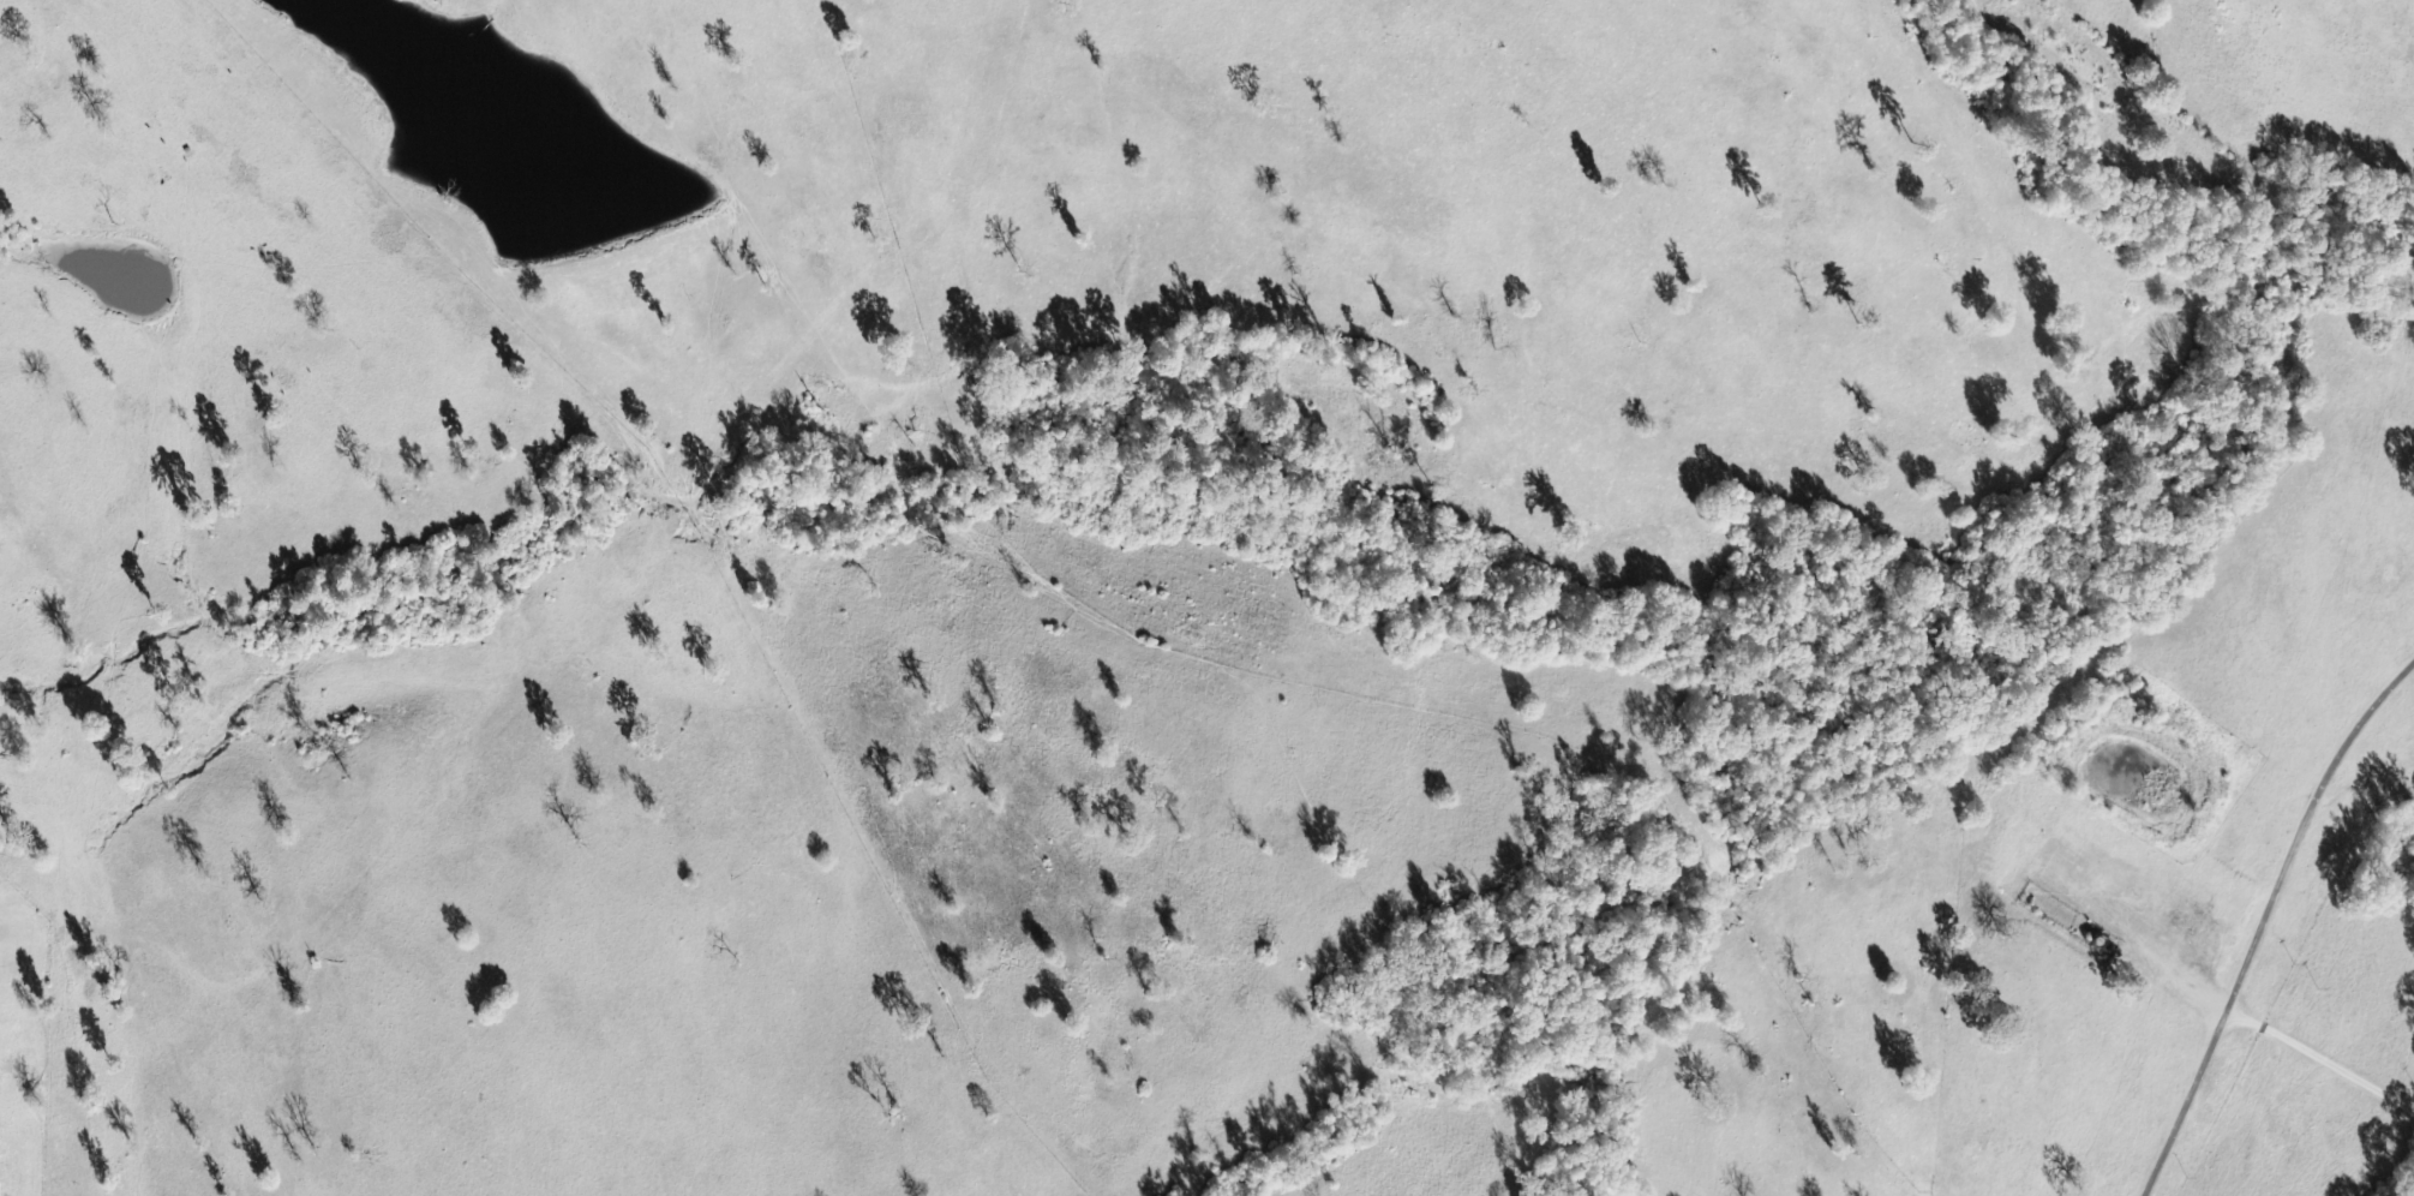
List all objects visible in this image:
petroleum well: (2133, 889)
road: (2264, 919)

